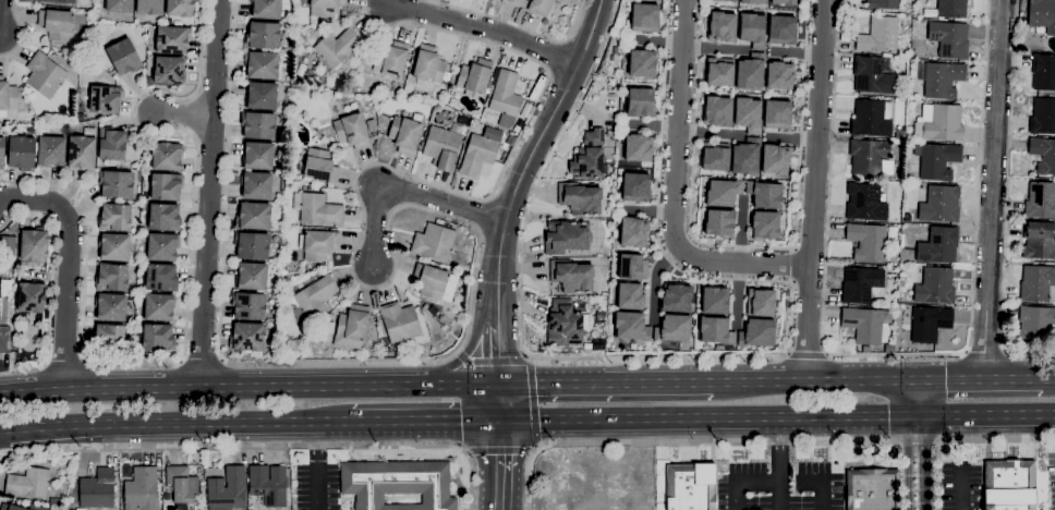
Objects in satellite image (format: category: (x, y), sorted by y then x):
building: (35, 0)
building: (726, 0)
building: (62, 1)
building: (518, 1)
building: (560, 1)
building: (753, 1)
building: (784, 2)
building: (882, 3)
building: (120, 5)
building: (148, 7)
building: (325, 7)
building: (539, 7)
building: (180, 8)
building: (951, 8)
building: (266, 9)
building: (1042, 14)
building: (644, 16)
building: (57, 24)
road: (514, 24)
building: (724, 26)
road: (485, 28)
building: (752, 28)
building: (784, 28)
road: (21, 33)
building: (263, 35)
building: (878, 35)
building: (949, 38)
building: (172, 39)
road: (657, 39)
building: (338, 46)
road: (712, 48)
road: (798, 53)
building: (313, 54)
building: (124, 57)
building: (391, 59)
building: (640, 62)
building: (262, 64)
building: (429, 65)
building: (169, 70)
building: (718, 72)
building: (751, 72)
building: (1043, 72)
building: (45, 74)
building: (780, 75)
building: (871, 75)
building: (475, 77)
building: (943, 80)
building: (902, 93)
building: (260, 95)
building: (7, 96)
building: (506, 97)
building: (640, 98)
building: (105, 99)
road: (181, 111)
building: (717, 111)
building: (748, 113)
building: (777, 116)
building: (1042, 116)
building: (872, 118)
road: (652, 122)
building: (939, 122)
building: (258, 124)
building: (371, 124)
building: (352, 131)
road: (710, 132)
building: (404, 134)
building: (900, 134)
building: (909, 135)
road: (542, 136)
building: (510, 139)
road: (792, 141)
building: (111, 144)
building: (442, 145)
building: (638, 146)
building: (83, 149)
building: (51, 150)
building: (2, 153)
building: (22, 153)
building: (1043, 154)
building: (477, 155)
building: (590, 155)
building: (166, 156)
building: (258, 156)
building: (870, 157)
building: (716, 158)
building: (745, 158)
building: (777, 160)
building: (937, 160)
building: (320, 166)
building: (116, 183)
building: (256, 184)
building: (166, 185)
building: (635, 187)
road: (992, 189)
building: (721, 190)
road: (815, 190)
road: (402, 191)
road: (674, 192)
road: (208, 193)
building: (765, 193)
building: (580, 197)
building: (1041, 199)
road: (1006, 201)
building: (864, 202)
building: (939, 204)
building: (317, 208)
road: (645, 208)
road: (441, 214)
building: (253, 216)
building: (114, 217)
building: (165, 217)
building: (717, 222)
building: (767, 226)
road: (742, 230)
building: (634, 232)
building: (567, 236)
building: (1039, 240)
building: (868, 241)
building: (434, 242)
building: (318, 243)
building: (34, 244)
building: (7, 245)
building: (252, 245)
building: (938, 245)
building: (116, 246)
building: (162, 246)
road: (744, 246)
road: (66, 266)
building: (631, 266)
building: (284, 271)
building: (571, 275)
building: (252, 276)
building: (112, 277)
building: (161, 277)
road: (656, 277)
building: (286, 280)
building: (435, 282)
building: (1036, 282)
building: (861, 284)
building: (935, 286)
road: (50, 287)
road: (738, 293)
road: (187, 294)
building: (631, 295)
building: (31, 296)
building: (676, 296)
building: (313, 299)
building: (712, 300)
building: (763, 300)
building: (248, 305)
building: (111, 306)
building: (159, 306)
building: (433, 309)
building: (399, 320)
building: (566, 323)
building: (930, 323)
building: (863, 324)
building: (1036, 324)
building: (629, 325)
building: (352, 326)
building: (328, 327)
building: (675, 329)
road: (499, 330)
building: (712, 331)
building: (759, 332)
building: (158, 337)
building: (246, 337)
building: (108, 338)
building: (4, 339)
road: (473, 343)
building: (587, 347)
building: (889, 348)
road: (809, 353)
road: (983, 353)
road: (895, 354)
road: (698, 355)
road: (493, 361)
road: (1051, 377)
road: (1015, 378)
road: (949, 379)
road: (814, 380)
road: (607, 381)
road: (250, 387)
road: (915, 397)
road: (500, 401)
road: (532, 403)
road: (985, 414)
road: (707, 416)
road: (426, 420)
traffic signals: (462, 420)
road: (335, 421)
road: (157, 422)
road: (763, 440)
road: (264, 448)
road: (500, 450)
road: (777, 462)
road: (915, 462)
road: (317, 464)
road: (500, 464)
road: (743, 481)
parking lot: (954, 481)
parking lot: (1050, 482)
building: (28, 483)
building: (268, 484)
building: (398, 484)
building: (1009, 485)
building: (182, 486)
building: (690, 486)
parking lot: (780, 486)
parking lot: (318, 487)
building: (97, 488)
road: (956, 488)
building: (142, 489)
building: (227, 489)
building: (872, 489)
road: (821, 495)
building: (56, 499)
building: (10, 506)

